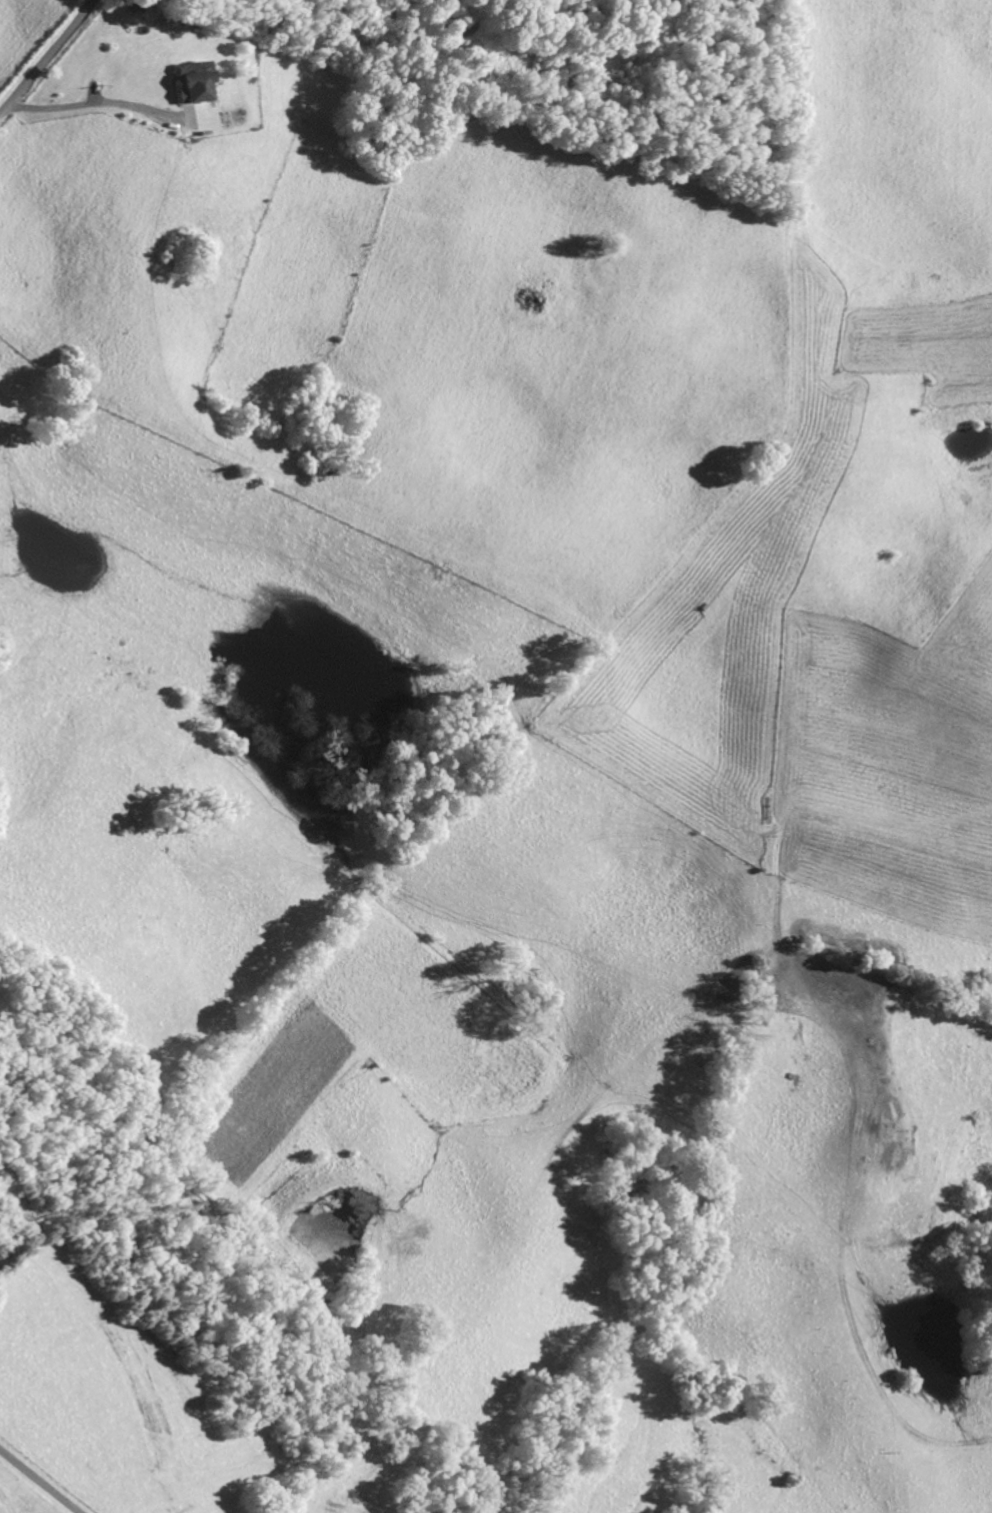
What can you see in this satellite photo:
road: (41, 53)
building: (191, 82)
road: (90, 103)
road: (41, 1480)

